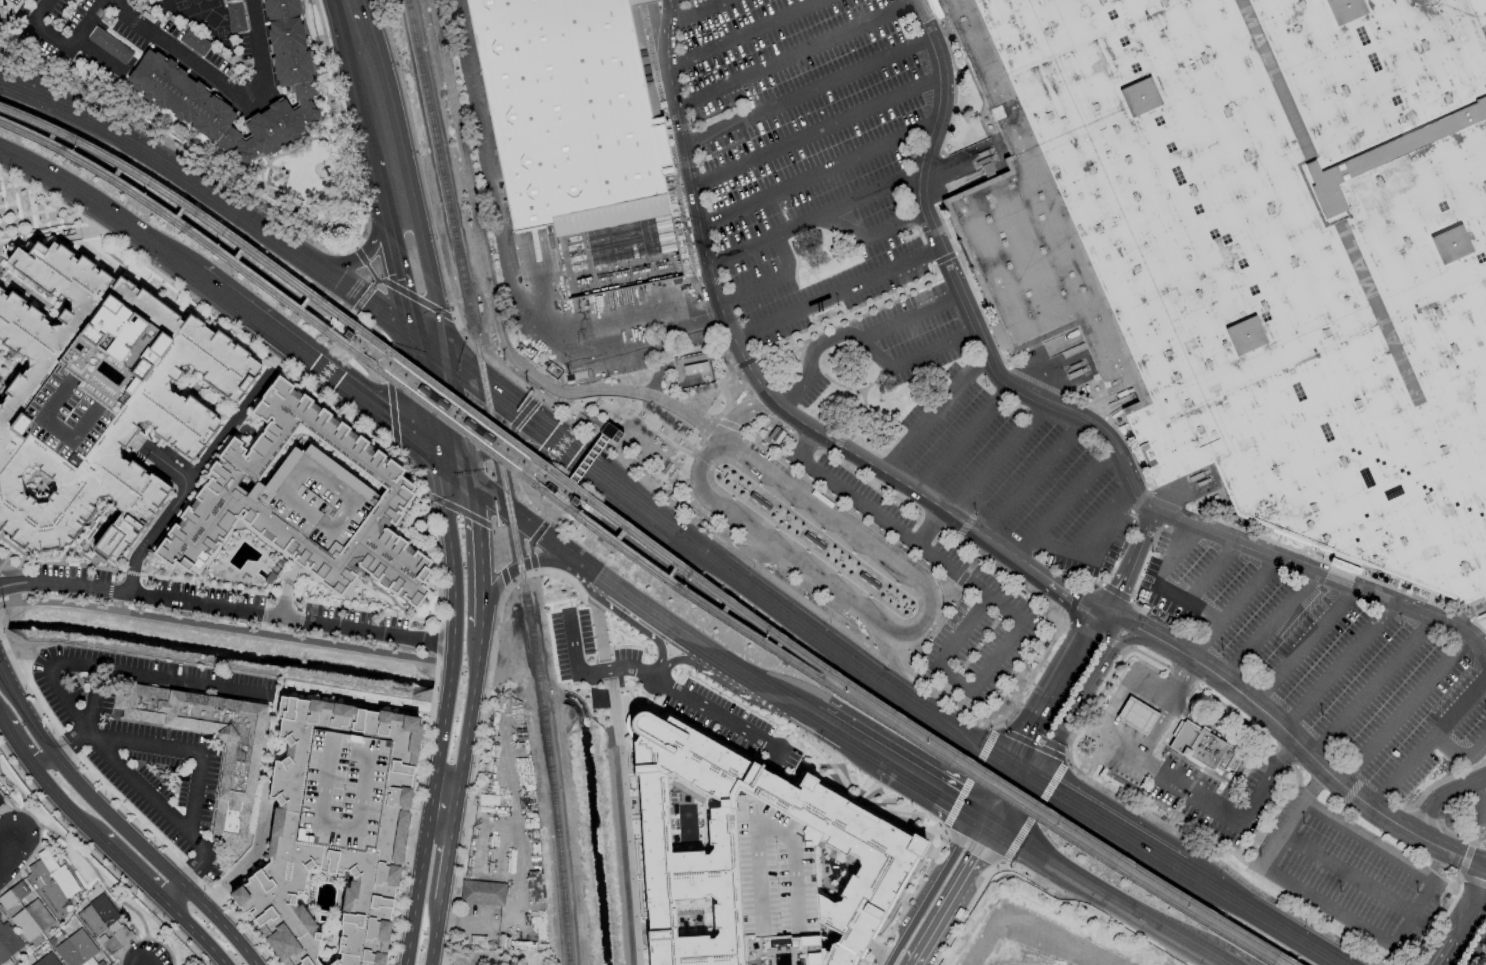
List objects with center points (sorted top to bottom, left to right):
building: (225, 0)
road: (44, 2)
road: (43, 11)
road: (346, 14)
road: (698, 14)
building: (235, 17)
road: (86, 21)
road: (745, 35)
building: (194, 42)
road: (77, 45)
building: (110, 45)
road: (793, 58)
building: (162, 83)
road: (223, 84)
road: (368, 87)
road: (21, 94)
road: (805, 95)
road: (814, 134)
building: (572, 137)
road: (485, 168)
building: (986, 170)
road: (687, 173)
road: (816, 176)
road: (386, 180)
road: (103, 207)
road: (810, 221)
road: (248, 228)
road: (420, 230)
road: (60, 232)
road: (868, 237)
building: (1257, 250)
road: (361, 255)
road: (944, 260)
road: (364, 261)
road: (399, 277)
road: (767, 283)
road: (492, 292)
road: (834, 296)
road: (362, 298)
road: (414, 298)
road: (620, 306)
road: (852, 316)
road: (907, 320)
road: (353, 331)
traffic signals: (412, 340)
road: (380, 341)
road: (443, 341)
road: (627, 345)
road: (861, 345)
road: (368, 348)
road: (283, 353)
railway: (391, 359)
traffic signals: (448, 362)
road: (744, 364)
road: (317, 367)
road: (272, 368)
road: (752, 378)
road: (732, 395)
road: (424, 399)
building: (96, 400)
road: (575, 404)
road: (505, 405)
road: (457, 407)
road: (576, 407)
road: (744, 412)
road: (392, 414)
road: (615, 416)
road: (932, 416)
road: (648, 420)
road: (357, 422)
road: (1075, 422)
road: (726, 423)
road: (797, 424)
road: (229, 429)
road: (709, 429)
road: (584, 432)
road: (961, 442)
road: (514, 445)
road: (809, 446)
traffic signals: (563, 449)
road: (747, 452)
traffic signals: (466, 453)
road: (744, 454)
road: (451, 455)
road: (517, 457)
traffic signals: (437, 458)
road: (700, 459)
road: (578, 460)
road: (162, 462)
road: (581, 462)
road: (995, 462)
road: (681, 468)
road: (469, 469)
road: (455, 471)
road: (699, 476)
railway: (501, 480)
road: (1031, 482)
traffic signals: (473, 485)
road: (900, 485)
road: (800, 495)
road: (632, 500)
road: (865, 504)
road: (1061, 506)
road: (505, 509)
road: (934, 521)
road: (487, 524)
road: (745, 526)
road: (847, 530)
road: (151, 535)
railway: (643, 539)
road: (686, 540)
road: (533, 541)
road: (899, 545)
road: (1090, 546)
road: (557, 548)
road: (775, 549)
road: (736, 553)
railway: (628, 554)
road: (743, 554)
road: (480, 555)
road: (1171, 557)
road: (791, 560)
parking lot: (947, 563)
road: (1130, 565)
road: (111, 569)
road: (967, 570)
road: (513, 571)
road: (131, 572)
road: (1211, 575)
road: (812, 576)
road: (1042, 580)
road: (515, 581)
road: (1025, 585)
road: (613, 587)
road: (108, 590)
road: (930, 596)
road: (1187, 604)
road: (851, 606)
road: (227, 609)
road: (1231, 610)
road: (816, 611)
road: (927, 624)
road: (804, 625)
road: (1133, 626)
road: (226, 628)
road: (1268, 630)
road: (1109, 632)
road: (454, 633)
road: (683, 634)
road: (1131, 639)
road: (1303, 648)
road: (1173, 649)
road: (996, 658)
road: (891, 661)
road: (661, 665)
road: (895, 669)
road: (1338, 669)
road: (594, 671)
road: (746, 675)
road: (1033, 675)
road: (176, 678)
road: (1178, 678)
road: (48, 679)
road: (1051, 684)
road: (1371, 691)
road: (93, 698)
road: (1114, 704)
road: (1252, 705)
road: (793, 706)
road: (953, 707)
road: (1404, 713)
road: (1071, 715)
building: (1136, 715)
gas station: (1136, 715)
road: (717, 717)
road: (469, 719)
road: (3, 727)
road: (956, 730)
road: (845, 740)
road: (69, 742)
road: (1234, 742)
road: (150, 744)
road: (1428, 746)
building: (1203, 748)
road: (19, 752)
road: (1461, 759)
traffic signals: (1005, 762)
road: (42, 763)
building: (238, 770)
road: (1021, 772)
road: (1156, 773)
road: (1266, 780)
traffic signals: (1038, 782)
road: (511, 787)
road: (923, 791)
road: (986, 791)
road: (145, 792)
road: (196, 794)
building: (2, 798)
road: (1441, 798)
road: (1478, 802)
road: (68, 809)
road: (444, 811)
road: (1020, 811)
traffic signals: (968, 820)
road: (120, 824)
road: (1391, 824)
road: (1110, 825)
road: (985, 830)
building: (333, 833)
building: (678, 836)
traffic signals: (1002, 840)
road: (1367, 840)
road: (76, 849)
road: (8, 852)
road: (427, 856)
road: (200, 860)
road: (246, 862)
road: (446, 864)
road: (1044, 865)
road: (1347, 872)
road: (136, 873)
building: (751, 873)
road: (187, 876)
road: (935, 877)
building: (52, 879)
building: (482, 892)
road: (173, 893)
building: (823, 898)
road: (961, 901)
road: (1321, 907)
road: (171, 908)
road: (516, 911)
building: (24, 912)
road: (1265, 916)
road: (1460, 920)
building: (103, 922)
road: (1034, 926)
road: (1150, 927)
road: (415, 934)
building: (687, 937)
road: (203, 939)
building: (8, 941)
road: (434, 941)
building: (77, 949)
road: (894, 950)
road: (1477, 951)
building: (46, 960)
road: (919, 963)

